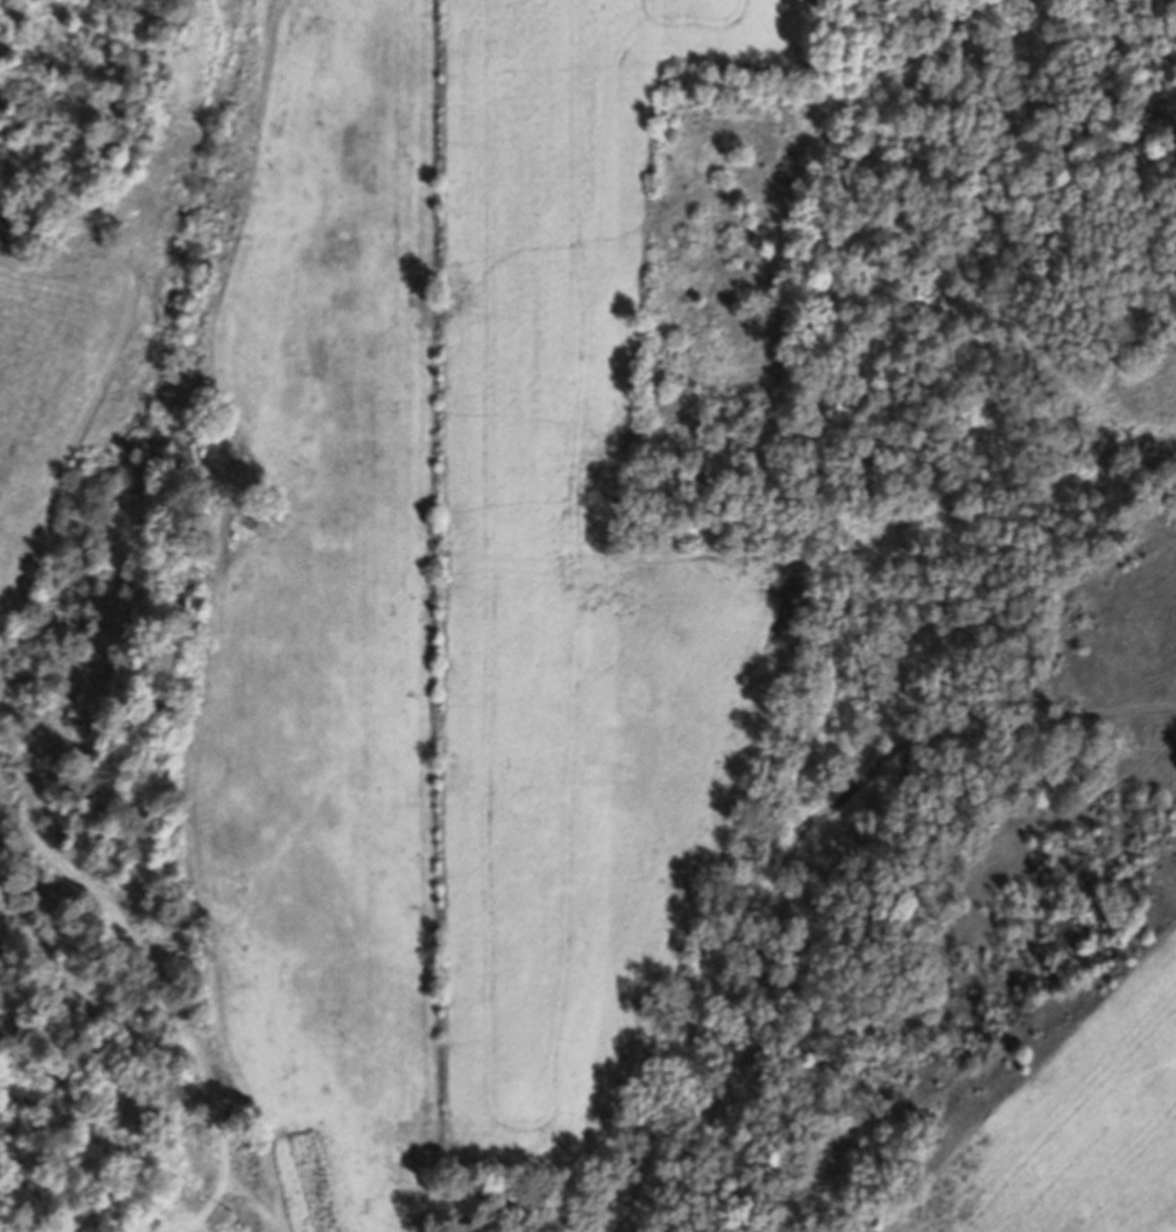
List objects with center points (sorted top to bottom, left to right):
building: (1117, 7)

